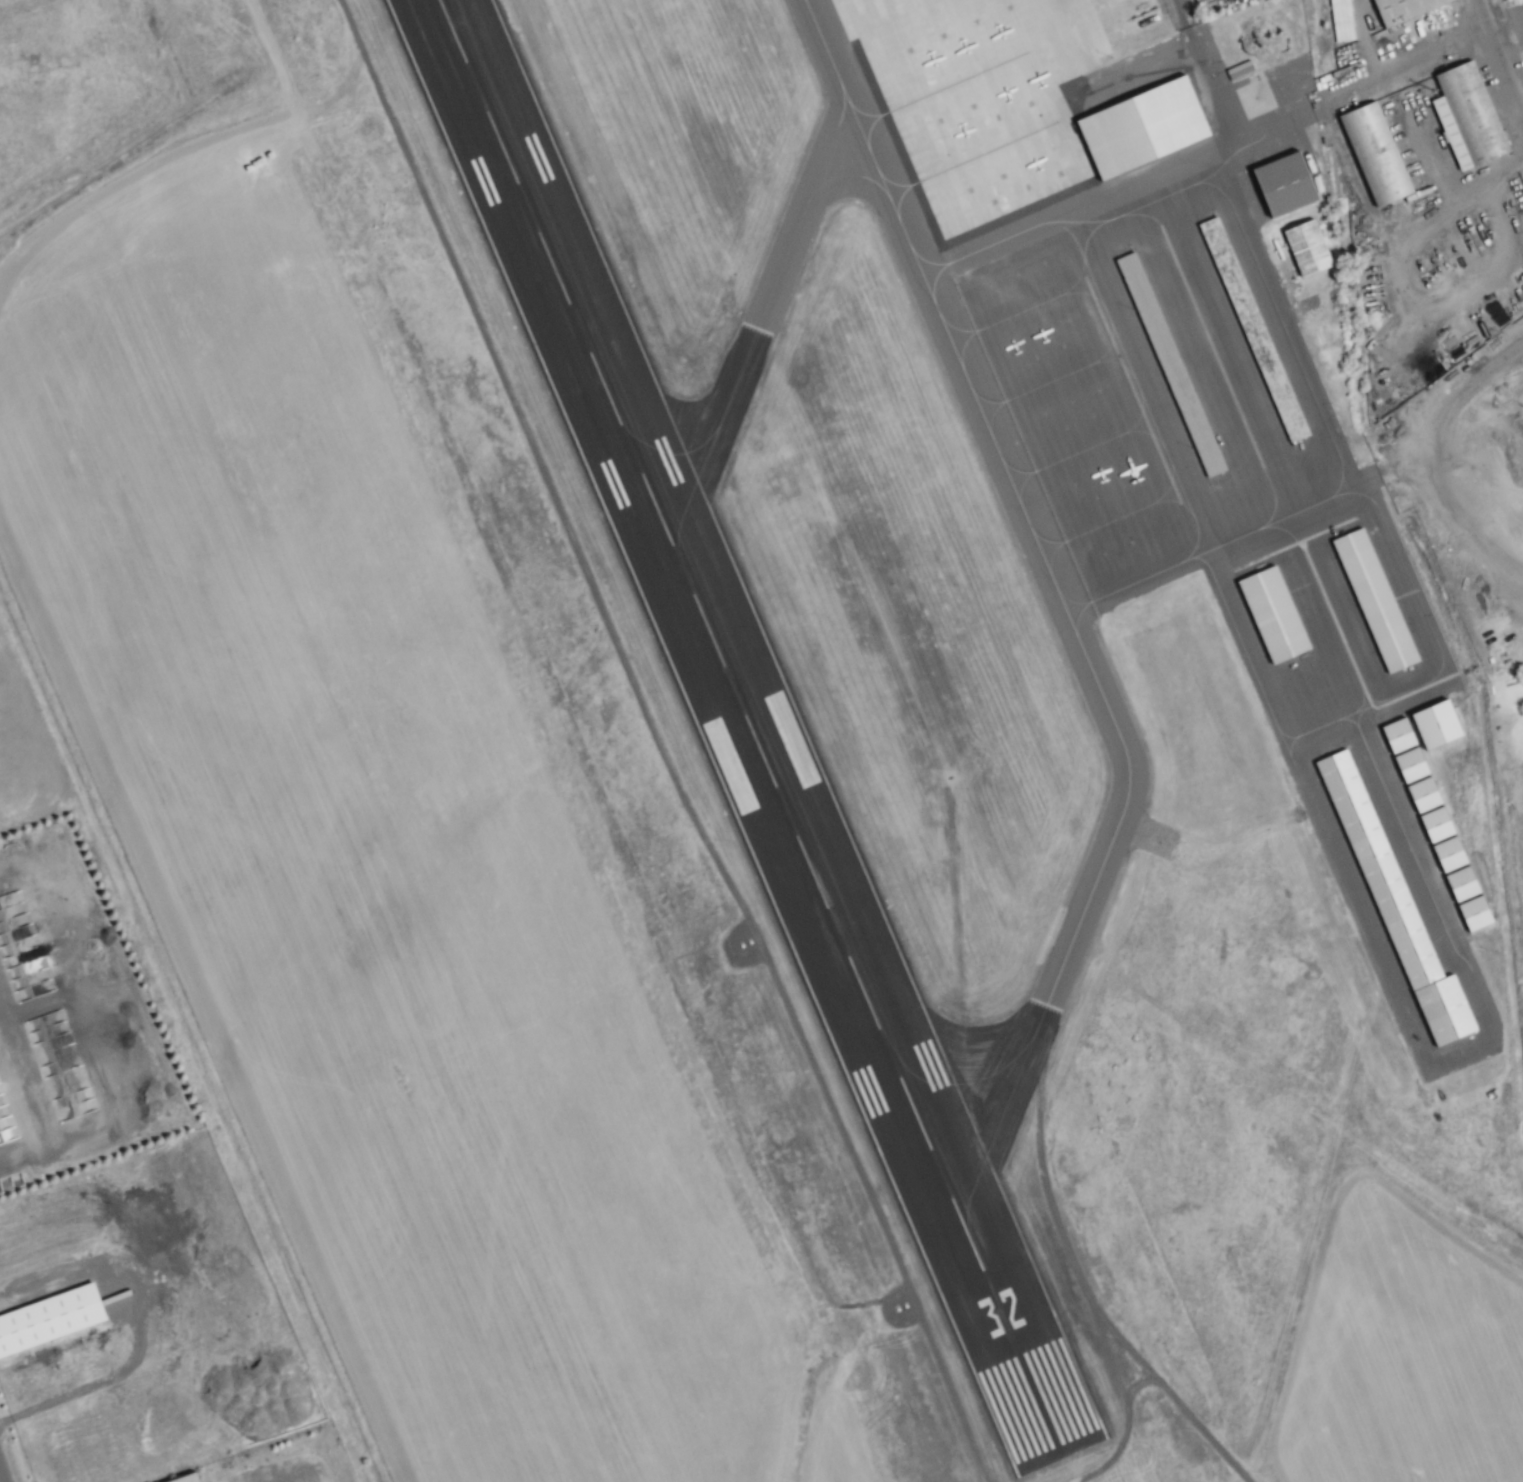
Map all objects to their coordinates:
building: (1399, 8)
building: (1341, 20)
road: (1433, 49)
road: (1499, 57)
road: (1208, 78)
building: (1465, 115)
airport hangar: (1138, 127)
building: (1138, 127)
building: (1373, 153)
airport hangar: (1280, 184)
building: (1280, 184)
airport hangar: (1305, 247)
building: (1305, 247)
airport taxiway: (757, 321)
airport hangar: (1251, 329)
building: (1251, 329)
airport hangar: (1169, 364)
building: (1169, 364)
airport apron: (1174, 421)
road: (1449, 464)
airport hangar: (1373, 601)
building: (1373, 601)
airport taxiway: (1061, 607)
airport hangar: (1270, 615)
building: (1270, 615)
airport runway: (744, 719)
airport hangar: (1433, 724)
building: (1433, 724)
airport hangar: (1396, 736)
building: (1396, 736)
road: (657, 744)
airport hangar: (1409, 765)
building: (1409, 765)
airport hangar: (1421, 795)
building: (1421, 795)
airport hangar: (1434, 824)
building: (1434, 824)
airport hangar: (1447, 854)
building: (1447, 854)
airport hangar: (1459, 884)
building: (1459, 884)
airport hangar: (1393, 903)
building: (1393, 903)
airport hangar: (1472, 914)
building: (1472, 914)
building: (7, 952)
road: (1093, 1305)
building: (47, 1319)
road: (1133, 1389)
road: (1122, 1397)
building: (186, 1479)
road: (0, 1481)

